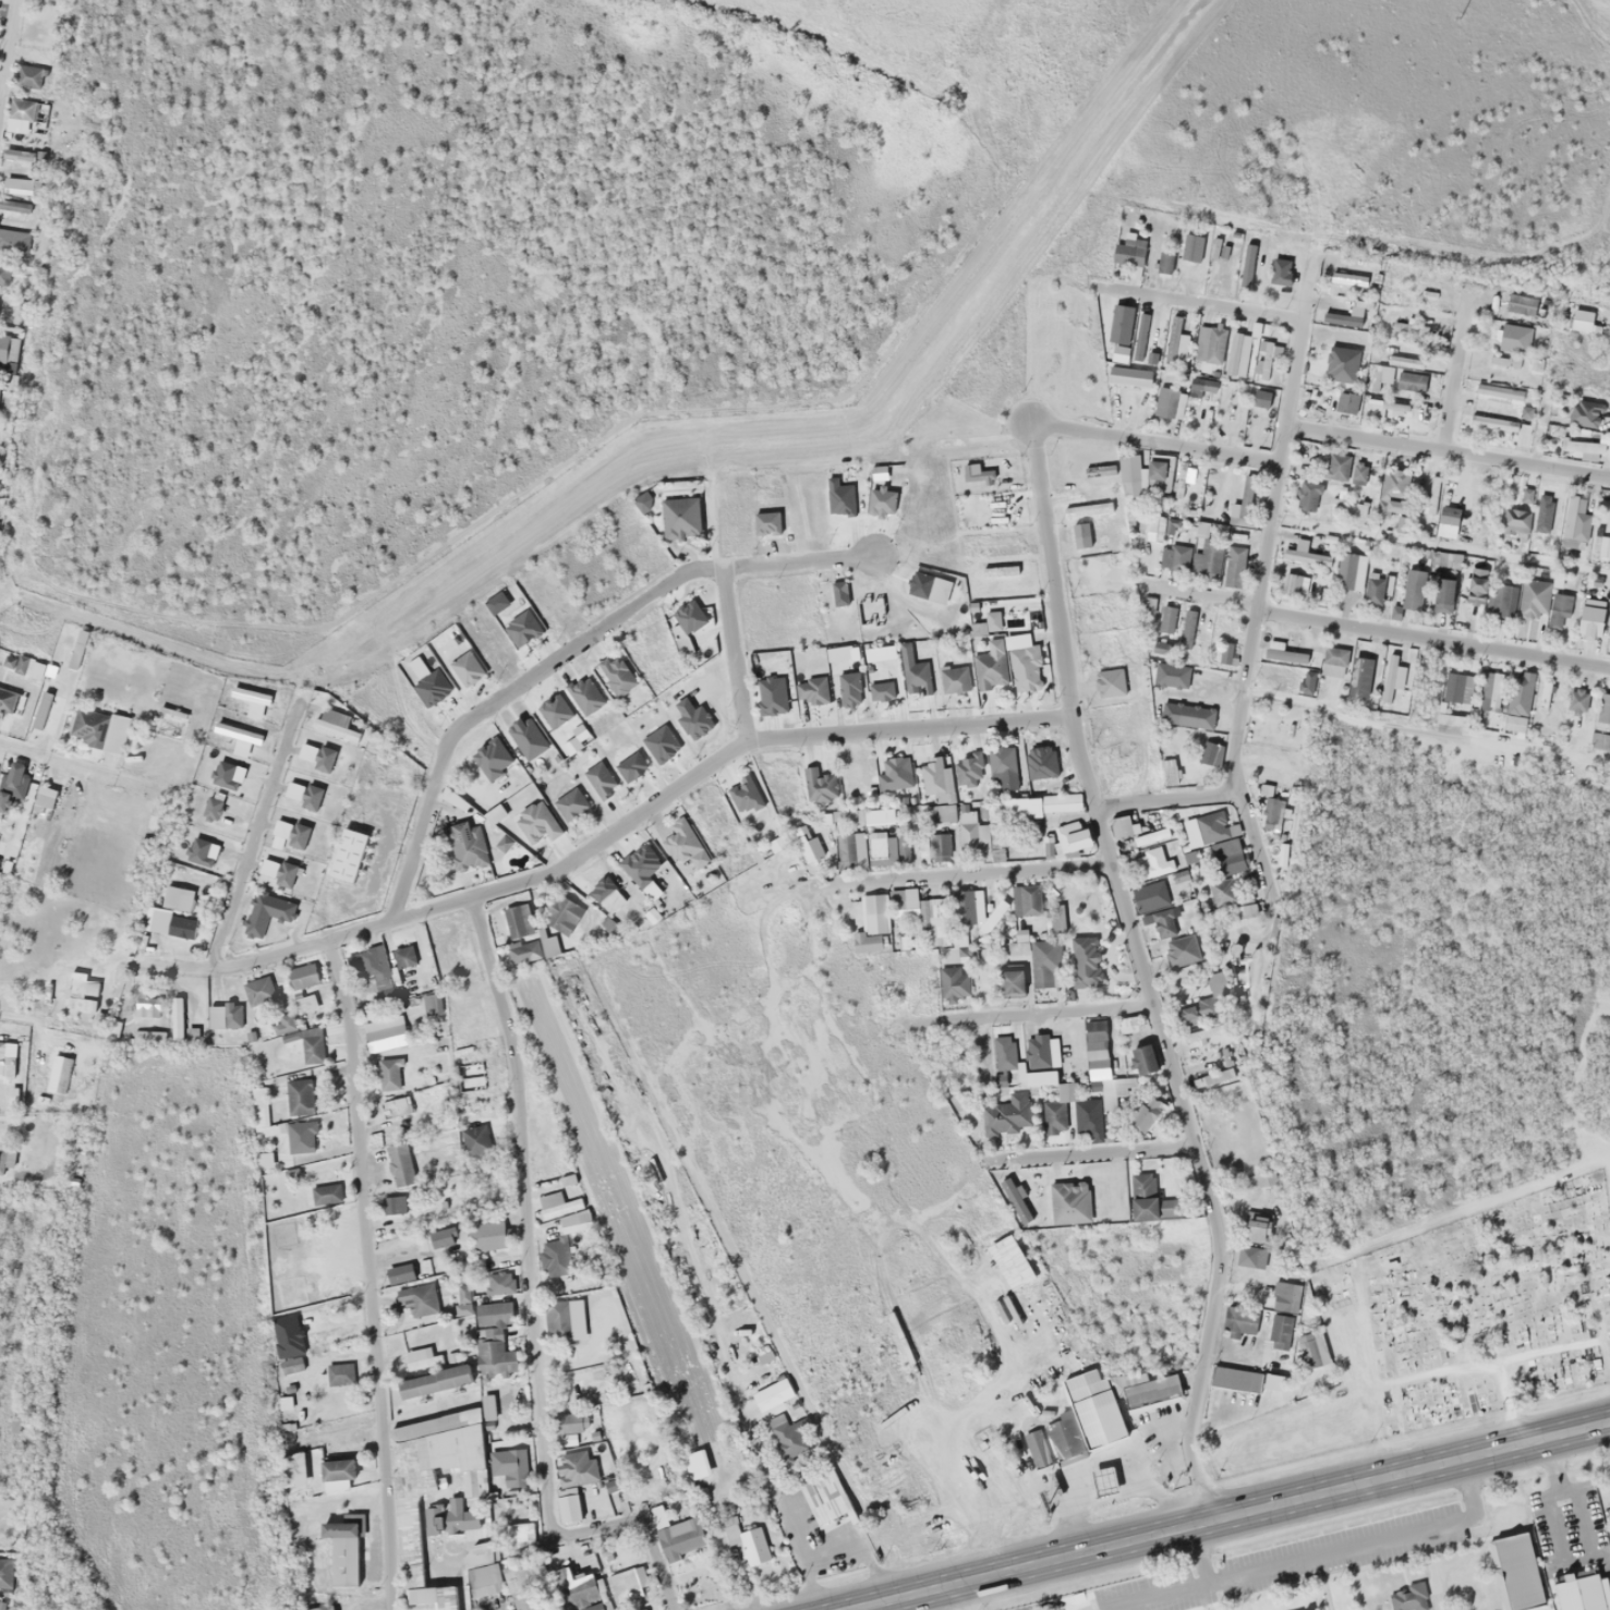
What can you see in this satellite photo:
road: (8, 47)
building: (28, 76)
building: (20, 114)
building: (1191, 251)
building: (1129, 255)
building: (1164, 262)
building: (1275, 270)
building: (1246, 276)
road: (1197, 301)
building: (1506, 312)
building: (1342, 317)
building: (1119, 324)
building: (1141, 331)
building: (1494, 337)
building: (1176, 343)
building: (1210, 343)
building: (8, 349)
building: (1238, 354)
building: (1262, 360)
building: (1399, 360)
building: (1341, 364)
road: (1454, 367)
building: (1381, 374)
building: (1129, 376)
building: (1498, 391)
building: (1166, 402)
building: (1346, 403)
building: (1256, 426)
road: (1448, 449)
building: (1585, 449)
building: (1336, 467)
building: (1155, 473)
building: (1130, 475)
building: (1392, 489)
building: (1431, 494)
road: (1040, 495)
building: (1308, 495)
building: (1244, 504)
building: (1087, 509)
building: (1572, 520)
building: (1446, 521)
building: (1516, 523)
building: (1153, 524)
road: (1266, 530)
building: (1603, 547)
building: (1207, 558)
building: (1233, 566)
building: (1349, 571)
building: (1293, 583)
building: (1475, 588)
building: (1413, 589)
building: (1373, 590)
building: (1442, 594)
building: (1498, 598)
building: (1533, 600)
building: (1147, 605)
building: (1558, 609)
building: (688, 617)
building: (1167, 619)
building: (1590, 619)
road: (1380, 626)
building: (521, 627)
building: (1186, 629)
building: (886, 651)
building: (1226, 653)
building: (456, 654)
road: (565, 654)
road: (736, 659)
building: (1333, 661)
building: (989, 670)
building: (1263, 671)
building: (915, 673)
building: (1170, 674)
building: (1392, 677)
building: (954, 679)
building: (1110, 681)
building: (1456, 687)
building: (810, 689)
building: (849, 689)
building: (1491, 689)
building: (574, 691)
building: (881, 691)
building: (1518, 693)
building: (771, 695)
building: (1544, 695)
building: (555, 710)
building: (1603, 712)
building: (1186, 715)
building: (1451, 719)
building: (89, 726)
building: (238, 733)
road: (1424, 735)
road: (43, 759)
building: (323, 759)
building: (630, 766)
building: (1167, 772)
building: (894, 773)
building: (223, 774)
building: (969, 776)
building: (601, 778)
building: (936, 779)
building: (818, 785)
building: (310, 797)
road: (1166, 798)
building: (570, 803)
building: (213, 806)
building: (1270, 814)
building: (879, 818)
building: (536, 822)
building: (1211, 826)
road: (254, 828)
building: (971, 834)
building: (296, 835)
road: (606, 837)
building: (1072, 837)
road: (1254, 840)
building: (465, 845)
building: (937, 846)
building: (877, 847)
building: (903, 847)
building: (810, 848)
building: (198, 850)
building: (851, 850)
building: (1149, 852)
building: (347, 855)
building: (637, 862)
building: (285, 874)
road: (967, 880)
building: (602, 892)
building: (982, 895)
building: (1027, 899)
building: (903, 903)
building: (963, 907)
building: (173, 912)
building: (264, 912)
building: (561, 913)
building: (1054, 918)
building: (519, 921)
building: (933, 921)
building: (1162, 922)
building: (871, 923)
building: (1020, 934)
building: (901, 935)
building: (1181, 951)
building: (524, 952)
building: (403, 956)
building: (1084, 961)
building: (1043, 964)
building: (371, 970)
building: (302, 977)
building: (1010, 979)
building: (953, 982)
building: (258, 991)
building: (147, 1006)
building: (1196, 1009)
road: (1045, 1012)
building: (177, 1018)
building: (283, 1024)
building: (1128, 1025)
building: (112, 1028)
building: (384, 1033)
building: (148, 1037)
building: (1094, 1040)
building: (998, 1050)
building: (1037, 1051)
building: (0, 1060)
building: (1142, 1060)
building: (388, 1074)
building: (1032, 1078)
building: (299, 1095)
building: (1106, 1095)
building: (396, 1106)
building: (1056, 1109)
building: (1004, 1111)
building: (1146, 1113)
building: (301, 1137)
building: (473, 1140)
building: (1, 1158)
road: (1194, 1161)
building: (400, 1164)
road: (1116, 1165)
building: (325, 1194)
building: (1142, 1196)
building: (392, 1205)
building: (558, 1205)
building: (1081, 1209)
building: (576, 1226)
building: (1254, 1239)
road: (367, 1273)
building: (399, 1273)
building: (419, 1299)
road: (530, 1304)
park: (1492, 1306)
building: (558, 1321)
building: (1238, 1321)
building: (288, 1343)
building: (1278, 1343)
building: (1312, 1349)
building: (493, 1353)
building: (422, 1358)
building: (339, 1373)
building: (1235, 1378)
building: (434, 1382)
building: (1150, 1393)
building: (283, 1403)
building: (487, 1406)
building: (1074, 1433)
building: (432, 1442)
building: (695, 1464)
building: (567, 1465)
road: (1412, 1468)
building: (337, 1474)
building: (1102, 1479)
building: (469, 1482)
building: (824, 1497)
building: (568, 1504)
building: (449, 1516)
building: (676, 1535)
building: (753, 1545)
building: (344, 1549)
road: (1024, 1561)
building: (1510, 1565)
building: (7, 1572)
building: (628, 1578)
building: (484, 1579)
building: (420, 1585)
building: (1577, 1590)
road: (957, 1595)
building: (1408, 1598)
building: (598, 1606)
building: (317, 1608)

